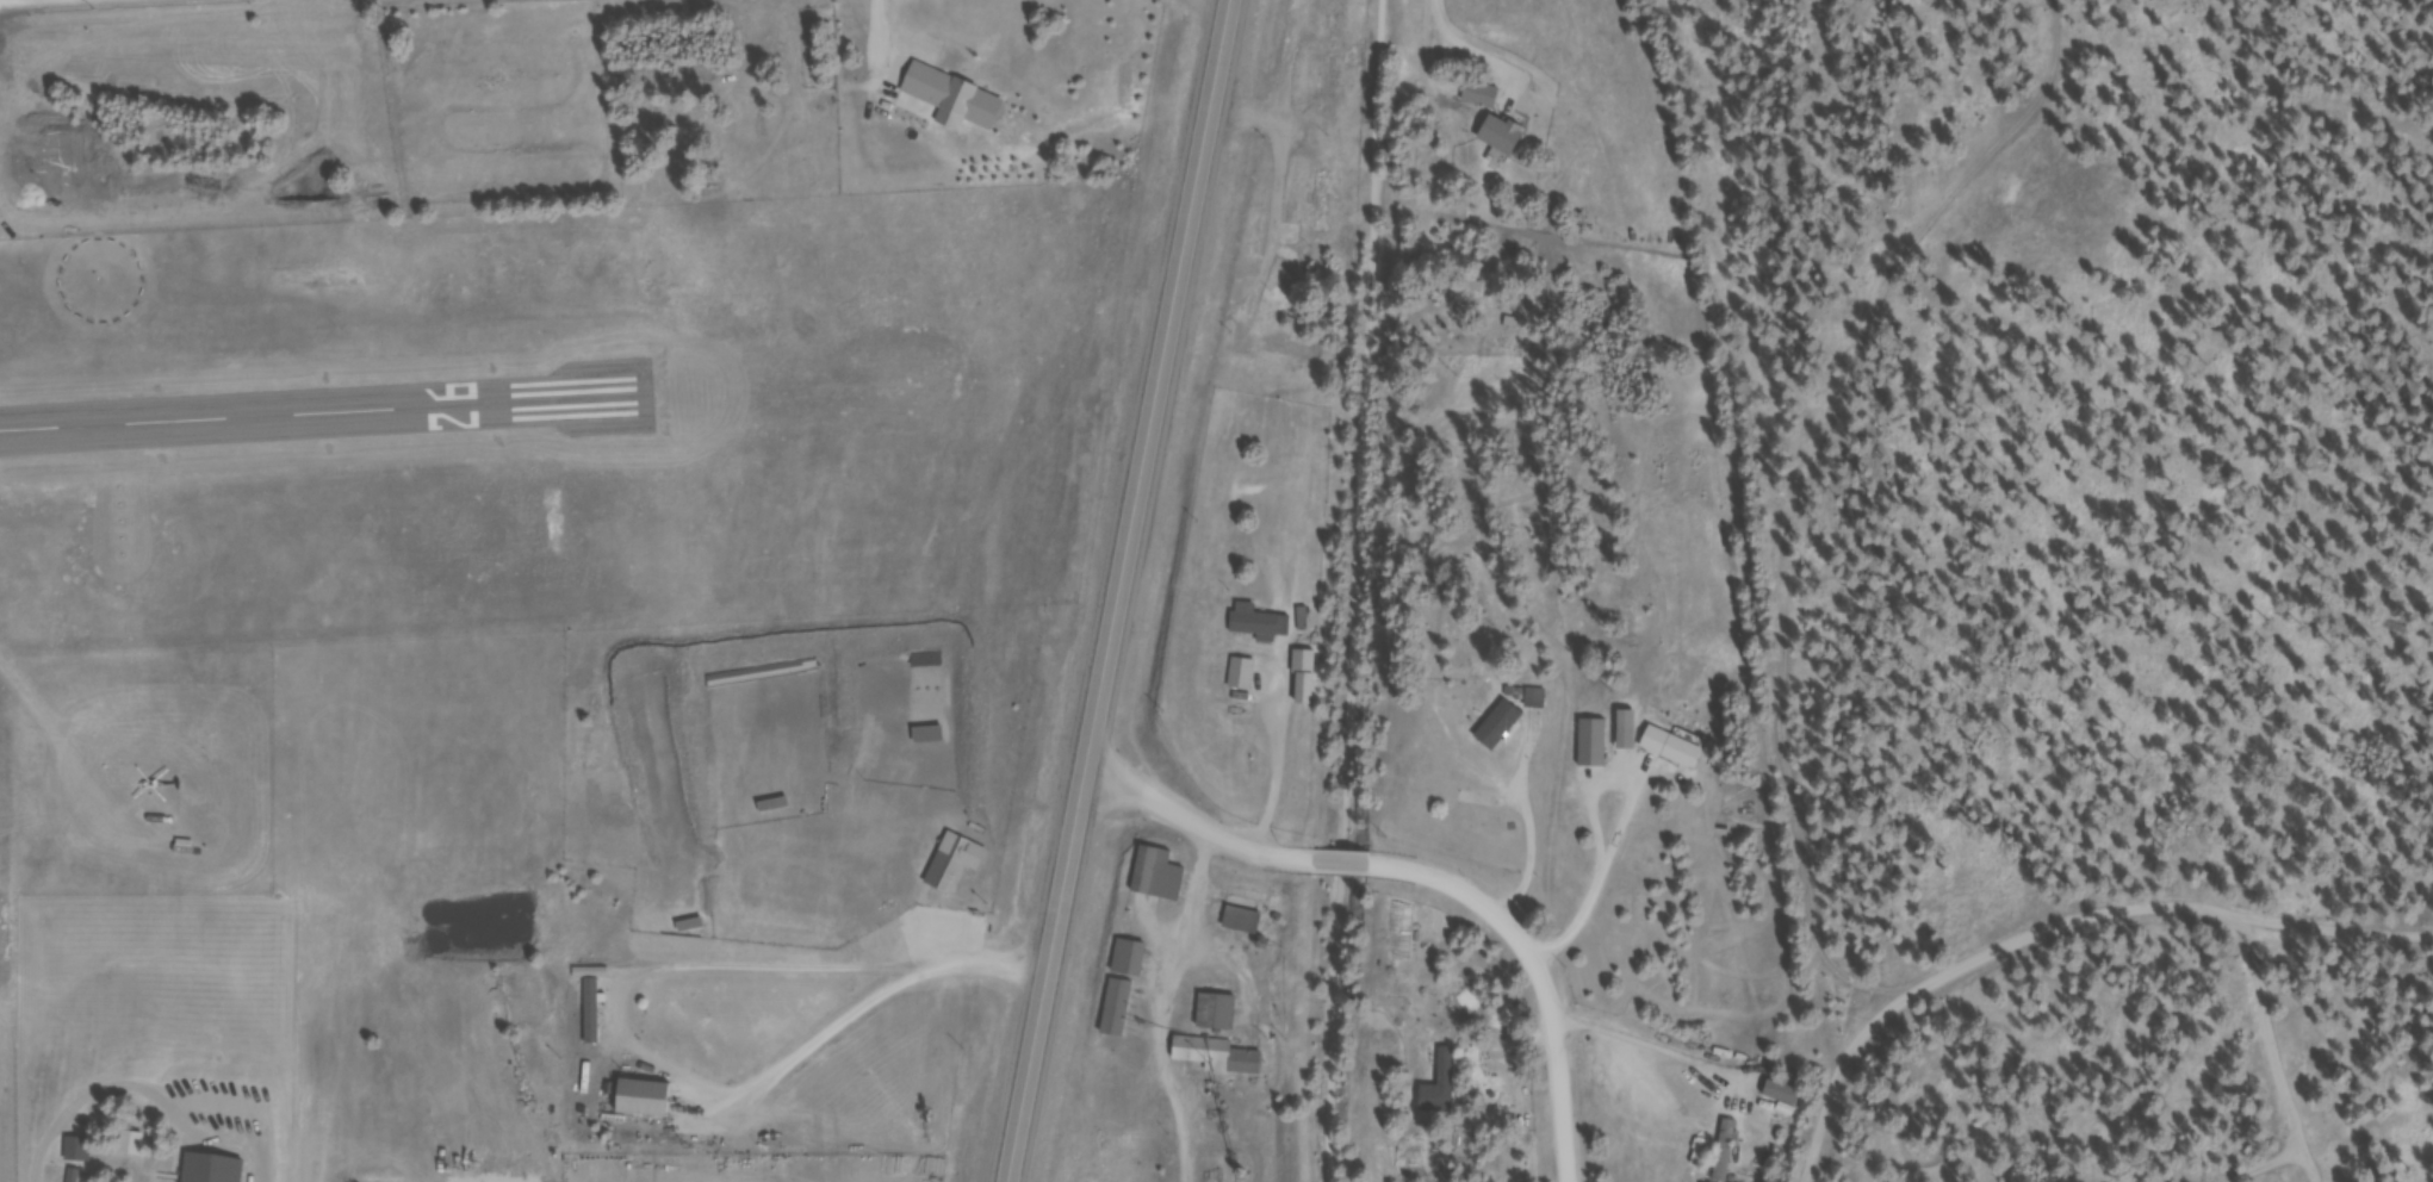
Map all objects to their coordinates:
road: (1439, 17)
building: (1357, 60)
building: (1330, 86)
building: (1484, 97)
building: (1506, 136)
building: (1324, 204)
building: (1287, 350)
airport runway: (323, 413)
airport: (544, 431)
road: (1366, 447)
road: (1123, 591)
building: (1261, 624)
building: (1245, 676)
building: (1311, 690)
building: (1538, 702)
building: (1502, 729)
building: (1595, 746)
building: (1676, 751)
road: (1198, 830)
road: (1346, 866)
building: (1161, 877)
road: (2136, 914)
building: (1249, 915)
building: (1134, 960)
road: (1538, 978)
building: (1121, 1012)
building: (595, 1013)
building: (1221, 1015)
road: (2271, 1029)
road: (1333, 1038)
building: (1222, 1058)
building: (1442, 1089)
building: (1787, 1100)
building: (647, 1101)
road: (1844, 1109)
building: (1728, 1151)
road: (2284, 1159)
building: (216, 1170)

